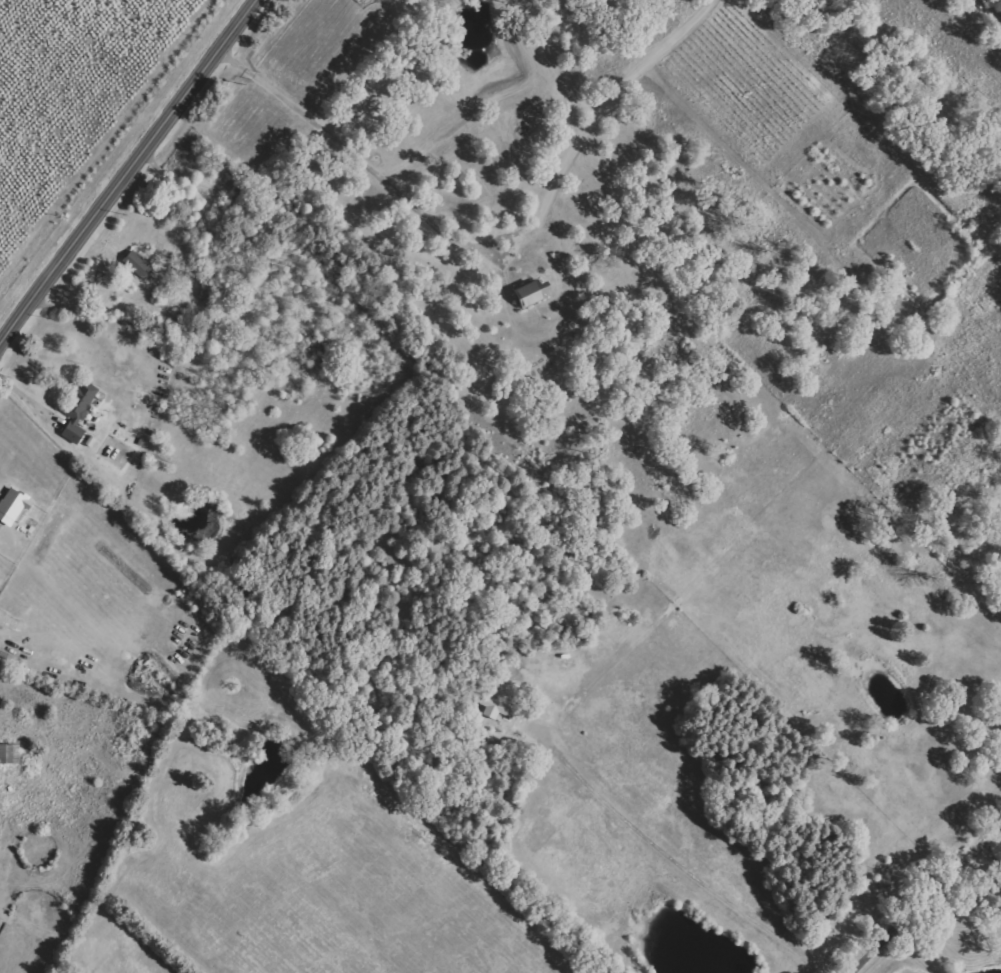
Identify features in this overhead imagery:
road: (992, 8)
road: (129, 173)
road: (488, 242)
building: (138, 265)
building: (533, 293)
road: (31, 398)
building: (79, 412)
building: (13, 506)
building: (497, 708)
building: (10, 754)
road: (986, 856)
road: (925, 896)

